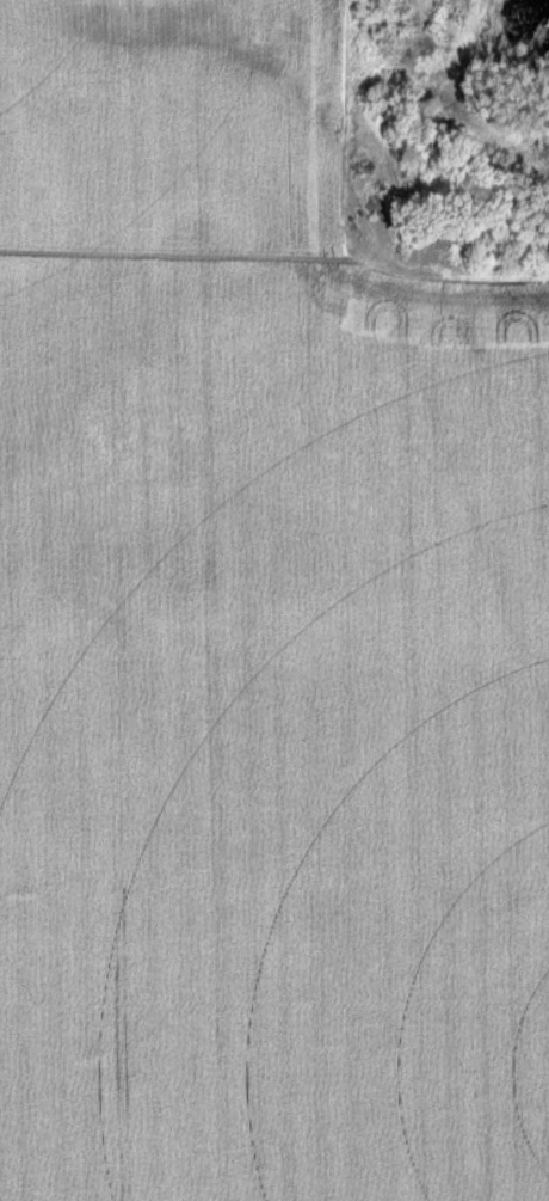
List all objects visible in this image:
crop: (259, 641)

